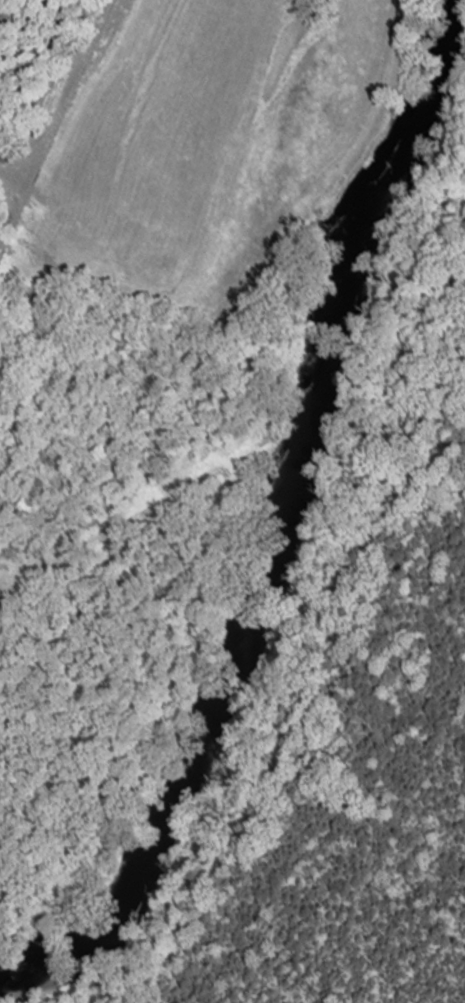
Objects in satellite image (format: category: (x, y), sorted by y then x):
river: (276, 522)

